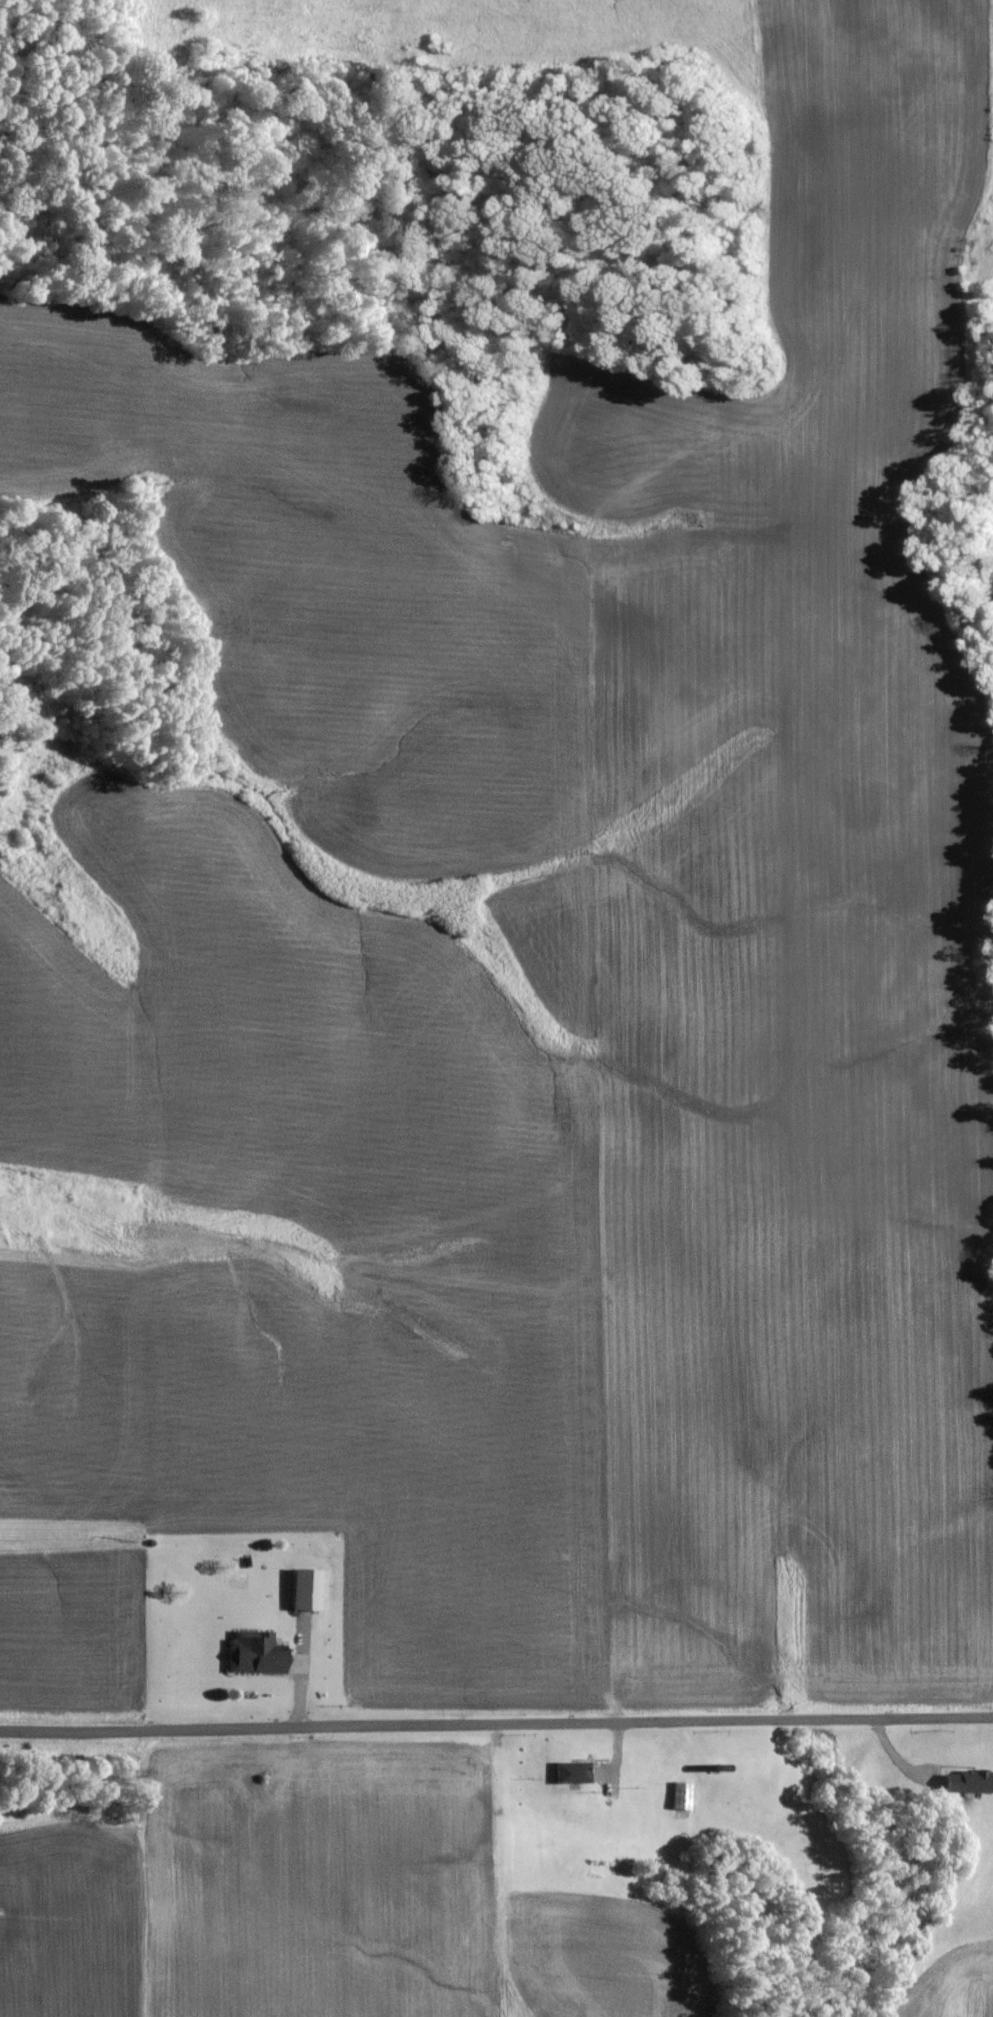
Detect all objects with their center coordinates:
building: (305, 1590)
building: (255, 1654)
road: (496, 1727)
building: (571, 1773)
building: (970, 1783)
building: (682, 1797)

